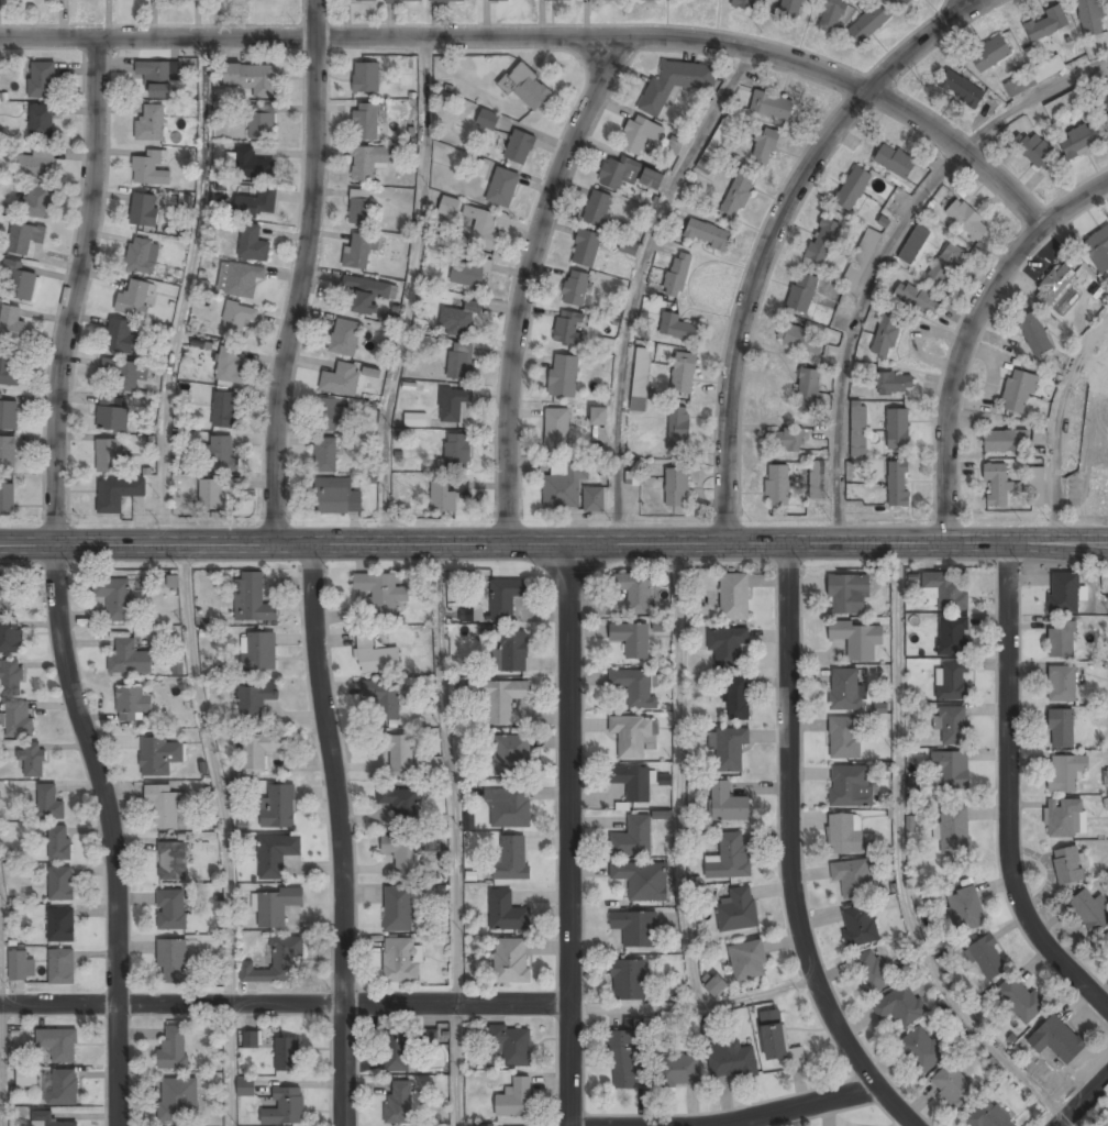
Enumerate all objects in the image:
building: (411, 0)
building: (651, 0)
building: (446, 1)
building: (610, 1)
building: (902, 2)
building: (743, 4)
road: (957, 8)
building: (789, 10)
building: (831, 14)
building: (1090, 18)
building: (868, 23)
building: (1046, 24)
road: (551, 35)
building: (989, 54)
building: (1034, 76)
building: (366, 77)
building: (156, 78)
building: (42, 79)
building: (253, 79)
building: (675, 84)
building: (527, 87)
building: (961, 88)
building: (1106, 101)
building: (772, 106)
building: (1066, 106)
building: (488, 119)
building: (42, 121)
building: (365, 122)
building: (151, 124)
building: (261, 125)
building: (640, 134)
building: (1083, 141)
building: (716, 145)
building: (674, 146)
building: (519, 147)
building: (764, 148)
building: (1032, 148)
building: (367, 162)
building: (895, 162)
building: (35, 164)
building: (252, 165)
building: (149, 169)
building: (616, 174)
building: (652, 179)
building: (502, 188)
building: (853, 189)
building: (736, 197)
building: (37, 202)
building: (257, 202)
building: (448, 206)
building: (361, 208)
building: (597, 209)
building: (144, 210)
building: (964, 217)
building: (483, 229)
road: (775, 230)
building: (707, 235)
building: (24, 238)
building: (822, 240)
building: (253, 244)
building: (913, 245)
building: (628, 247)
building: (586, 249)
road: (885, 251)
building: (1098, 251)
building: (357, 252)
building: (142, 256)
building: (860, 262)
building: (946, 265)
road: (302, 273)
building: (467, 274)
building: (677, 275)
building: (243, 280)
road: (639, 281)
building: (19, 283)
road: (523, 283)
building: (1055, 285)
building: (576, 289)
road: (184, 290)
road: (412, 290)
building: (802, 292)
building: (366, 294)
building: (917, 299)
building: (134, 300)
building: (237, 320)
building: (458, 320)
building: (12, 324)
building: (678, 328)
building: (569, 329)
road: (967, 332)
building: (886, 335)
building: (1034, 335)
building: (119, 336)
building: (345, 338)
building: (800, 339)
building: (461, 362)
building: (229, 365)
building: (1100, 367)
building: (9, 369)
building: (684, 373)
building: (120, 374)
building: (563, 376)
building: (641, 378)
building: (342, 379)
building: (894, 385)
building: (807, 390)
building: (1019, 391)
building: (453, 404)
building: (224, 409)
building: (8, 416)
building: (111, 416)
building: (331, 416)
building: (599, 418)
building: (417, 420)
building: (557, 429)
building: (678, 429)
building: (857, 429)
building: (897, 429)
building: (1040, 438)
building: (786, 442)
building: (1005, 442)
building: (456, 451)
building: (221, 453)
building: (7, 454)
building: (325, 455)
building: (108, 456)
building: (817, 481)
building: (1099, 482)
building: (898, 484)
building: (996, 484)
building: (564, 486)
building: (777, 486)
building: (1034, 486)
building: (676, 487)
building: (118, 494)
building: (211, 495)
building: (335, 497)
building: (443, 497)
building: (7, 499)
building: (594, 499)
road: (554, 543)
road: (56, 584)
building: (633, 589)
building: (948, 590)
building: (1064, 593)
building: (5, 594)
building: (380, 594)
building: (849, 595)
building: (734, 597)
building: (114, 598)
building: (252, 598)
building: (503, 598)
building: (465, 614)
building: (10, 637)
building: (953, 637)
building: (857, 639)
building: (631, 640)
building: (1062, 640)
building: (727, 647)
building: (258, 652)
building: (511, 652)
building: (375, 656)
building: (129, 659)
building: (11, 676)
building: (952, 682)
building: (1062, 685)
building: (633, 687)
building: (845, 691)
building: (384, 698)
building: (500, 698)
building: (736, 698)
building: (254, 699)
building: (132, 705)
building: (18, 719)
building: (952, 726)
building: (1062, 730)
building: (630, 737)
building: (844, 739)
building: (728, 747)
building: (261, 749)
building: (398, 752)
building: (511, 754)
building: (158, 755)
building: (33, 760)
building: (951, 772)
road: (215, 773)
road: (453, 773)
building: (1065, 773)
road: (679, 774)
building: (633, 783)
building: (850, 786)
road: (1006, 793)
building: (728, 803)
building: (48, 804)
building: (401, 804)
building: (278, 806)
building: (164, 808)
building: (510, 808)
building: (1064, 818)
building: (954, 830)
road: (339, 834)
road: (568, 835)
building: (844, 835)
building: (633, 838)
building: (58, 843)
road: (788, 852)
building: (276, 853)
building: (402, 854)
building: (511, 858)
building: (729, 858)
building: (173, 862)
road: (900, 862)
building: (1068, 866)
building: (853, 879)
building: (634, 880)
building: (60, 883)
building: (276, 906)
building: (398, 909)
building: (170, 910)
building: (738, 910)
building: (967, 910)
building: (1090, 912)
building: (506, 913)
building: (60, 924)
building: (860, 925)
building: (634, 929)
road: (1, 956)
building: (988, 959)
building: (399, 960)
building: (747, 961)
building: (173, 962)
building: (511, 962)
building: (277, 963)
building: (21, 964)
building: (62, 965)
building: (871, 972)
building: (628, 981)
building: (716, 986)
building: (1020, 1001)
road: (284, 1004)
road: (691, 1006)
building: (899, 1007)
building: (426, 1037)
building: (251, 1039)
building: (1057, 1040)
building: (58, 1044)
building: (511, 1045)
building: (779, 1045)
building: (174, 1048)
building: (921, 1050)
building: (396, 1051)
building: (286, 1055)
building: (622, 1061)
building: (731, 1061)
road: (233, 1064)
road: (457, 1064)
road: (2, 1066)
building: (679, 1071)
building: (26, 1077)
building: (245, 1086)
building: (62, 1088)
building: (954, 1088)
building: (178, 1100)
building: (514, 1100)
road: (1082, 1101)
building: (400, 1102)
road: (794, 1107)
building: (285, 1108)
building: (988, 1115)
building: (46, 1119)
building: (485, 1124)

